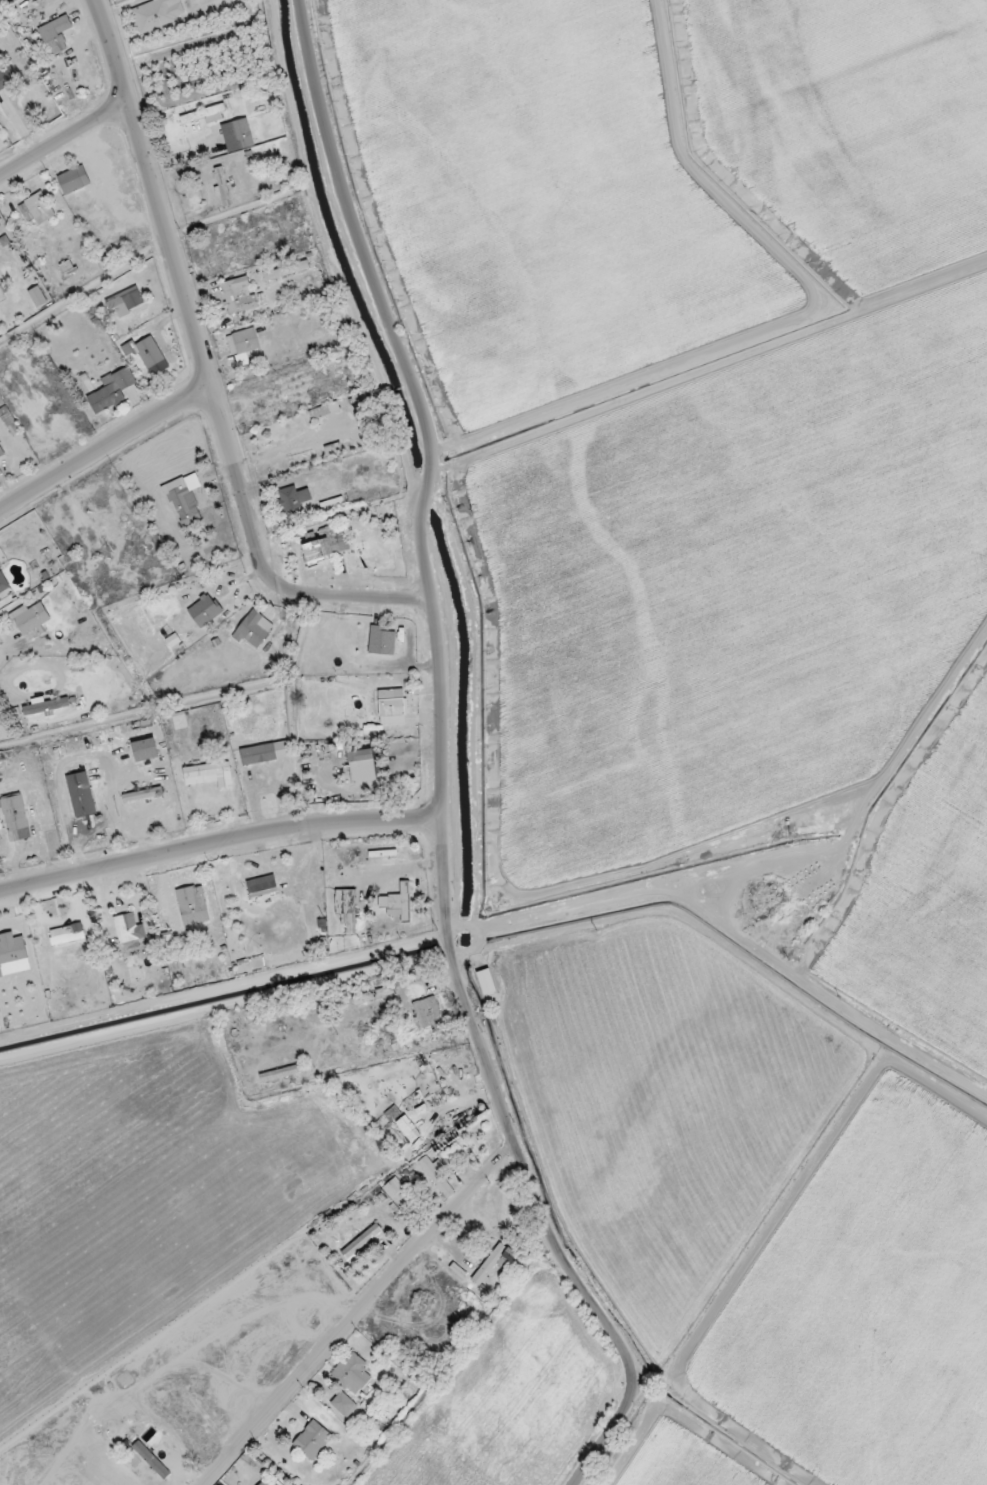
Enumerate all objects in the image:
road: (8, 4)
building: (158, 14)
building: (55, 34)
building: (7, 77)
building: (205, 115)
building: (242, 133)
road: (64, 140)
building: (74, 179)
building: (223, 186)
building: (40, 207)
building: (25, 212)
road: (360, 244)
building: (286, 270)
road: (84, 292)
building: (238, 295)
building: (37, 296)
building: (126, 298)
building: (243, 345)
building: (149, 352)
road: (709, 360)
road: (206, 369)
building: (111, 390)
building: (324, 410)
road: (105, 448)
building: (1, 452)
road: (426, 492)
building: (184, 498)
building: (293, 501)
building: (327, 545)
building: (3, 583)
building: (204, 610)
building: (30, 618)
building: (253, 629)
building: (382, 640)
road: (397, 642)
building: (391, 702)
building: (44, 705)
road: (145, 710)
road: (293, 710)
road: (925, 736)
building: (144, 749)
building: (258, 754)
building: (361, 766)
building: (208, 774)
building: (80, 795)
building: (12, 812)
road: (850, 835)
road: (218, 844)
road: (451, 885)
building: (261, 886)
building: (397, 902)
building: (192, 905)
building: (346, 907)
road: (560, 924)
building: (129, 930)
building: (67, 933)
road: (494, 946)
building: (13, 954)
road: (773, 958)
building: (486, 981)
building: (426, 1012)
road: (469, 1016)
road: (971, 1100)
building: (437, 1177)
building: (392, 1187)
building: (489, 1263)
road: (727, 1285)
road: (353, 1311)
building: (352, 1372)
building: (344, 1404)
building: (313, 1440)

